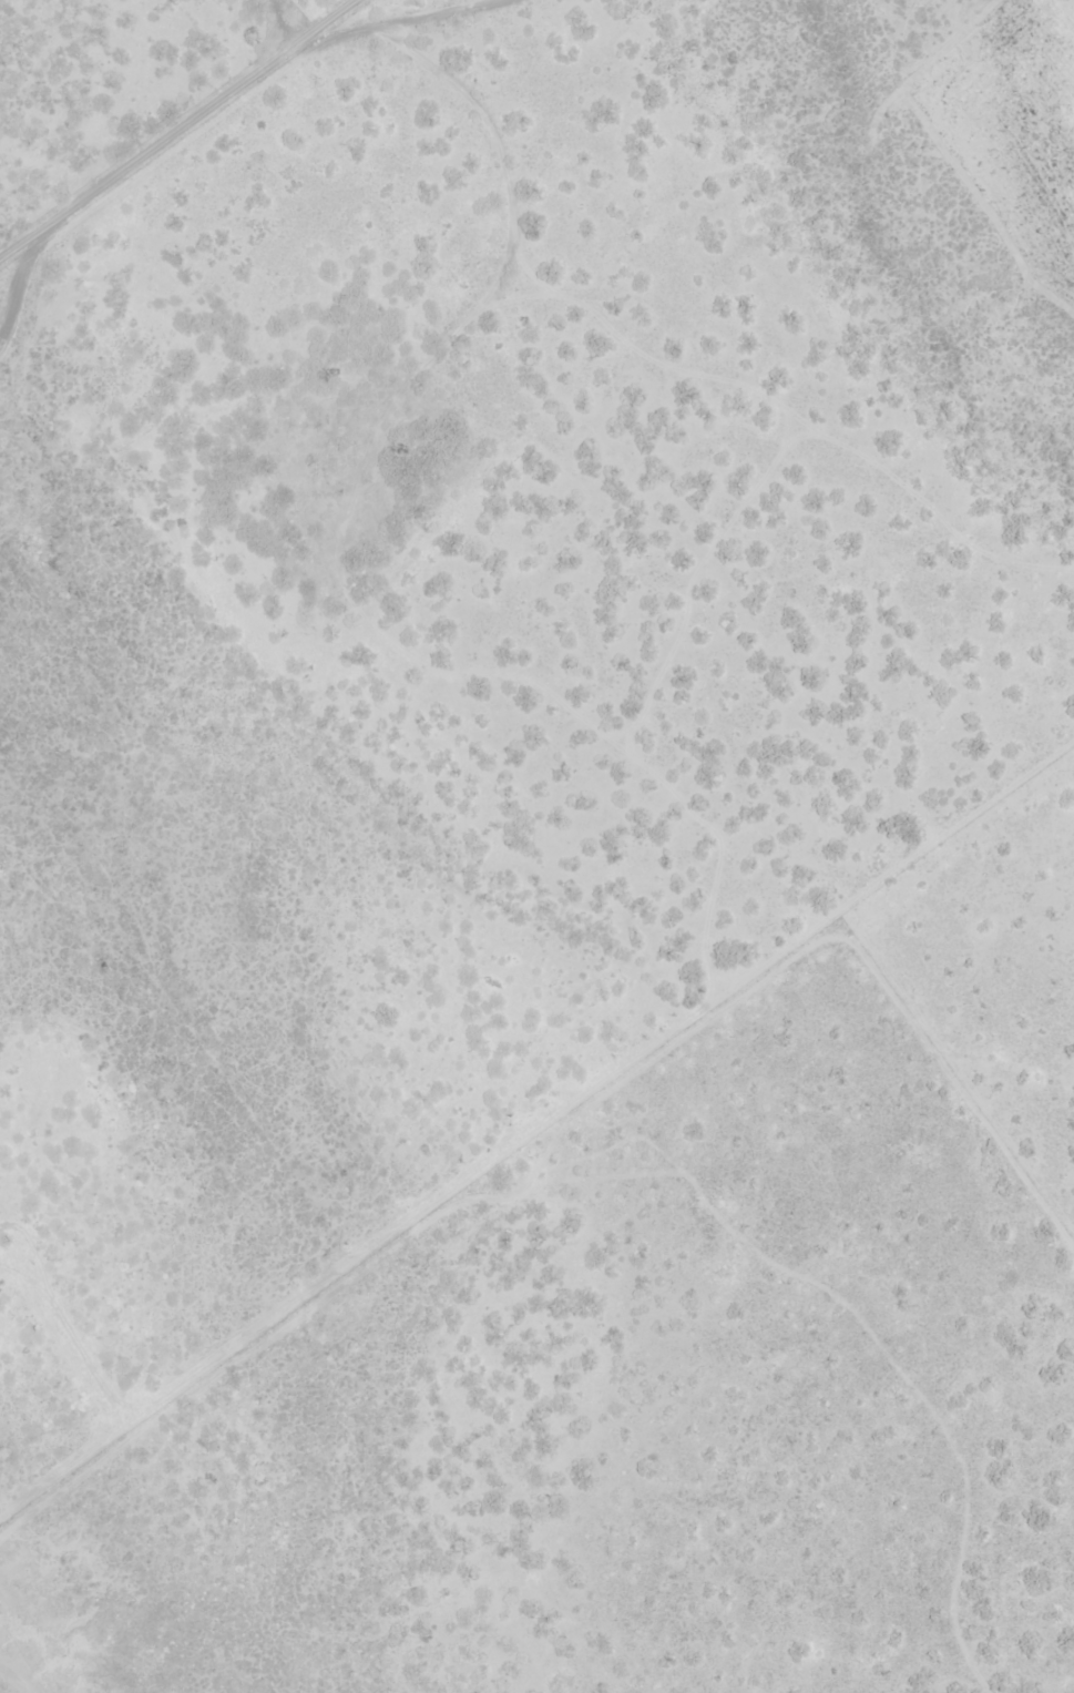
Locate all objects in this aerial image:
road: (242, 94)

